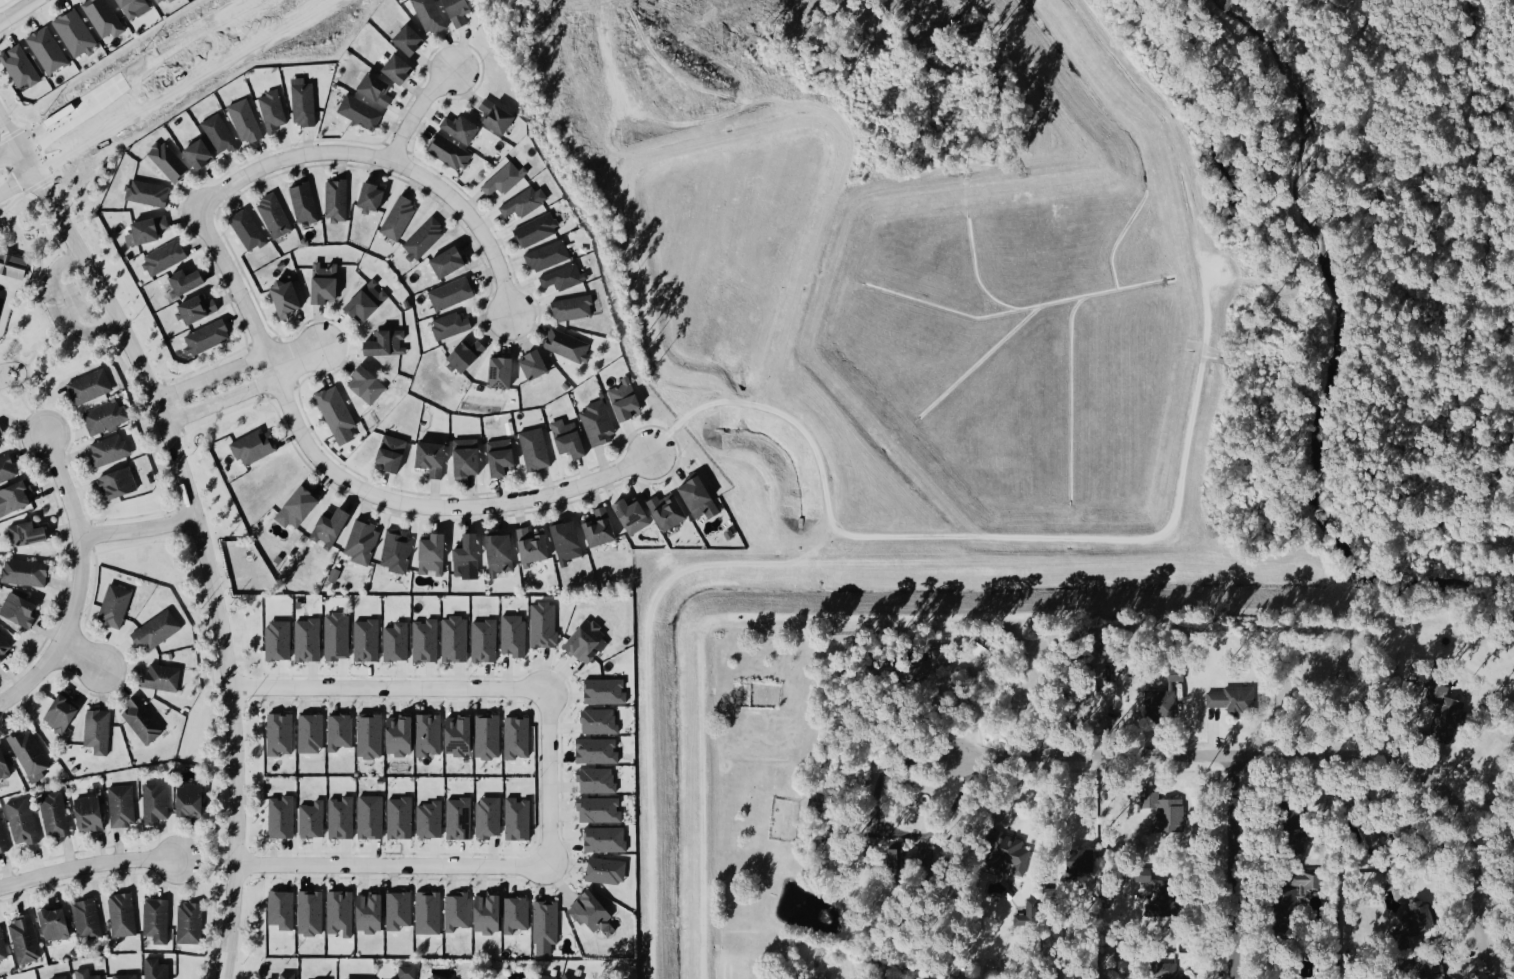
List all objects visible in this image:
building: (161, 1)
building: (136, 7)
road: (16, 10)
building: (461, 10)
building: (431, 15)
building: (105, 17)
building: (77, 33)
building: (413, 39)
building: (50, 50)
building: (22, 66)
building: (403, 68)
road: (138, 74)
road: (177, 87)
building: (379, 87)
building: (305, 102)
road: (414, 109)
building: (274, 110)
building: (362, 111)
building: (499, 115)
building: (247, 120)
building: (465, 128)
building: (220, 133)
road: (6, 138)
building: (451, 151)
road: (6, 152)
building: (203, 153)
road: (388, 159)
building: (170, 161)
building: (505, 178)
road: (14, 185)
building: (149, 192)
building: (375, 196)
building: (338, 200)
building: (525, 202)
building: (305, 203)
building: (276, 216)
building: (399, 217)
building: (249, 229)
building: (537, 230)
building: (148, 231)
building: (425, 238)
park: (1433, 245)
building: (549, 255)
building: (166, 256)
building: (453, 262)
building: (12, 266)
building: (565, 276)
building: (189, 281)
building: (328, 282)
building: (453, 293)
building: (291, 298)
building: (369, 302)
road: (67, 305)
building: (573, 307)
building: (200, 309)
park: (43, 312)
building: (452, 324)
building: (209, 337)
building: (387, 343)
building: (569, 345)
building: (471, 355)
road: (293, 358)
river: (1323, 362)
building: (539, 364)
road: (208, 375)
building: (365, 382)
building: (87, 387)
building: (628, 399)
road: (220, 402)
building: (335, 410)
building: (106, 417)
building: (600, 422)
building: (2, 433)
building: (572, 438)
building: (255, 446)
building: (537, 449)
building: (110, 450)
building: (390, 452)
building: (430, 456)
building: (464, 457)
building: (504, 457)
building: (8, 468)
road: (343, 482)
building: (119, 484)
building: (17, 498)
building: (703, 498)
building: (297, 504)
building: (671, 512)
building: (635, 516)
road: (136, 527)
building: (327, 527)
building: (603, 527)
building: (30, 533)
building: (571, 540)
building: (360, 541)
road: (202, 543)
building: (536, 546)
building: (395, 549)
building: (430, 554)
building: (503, 554)
building: (470, 558)
building: (27, 572)
building: (332, 573)
road: (79, 581)
building: (117, 605)
building: (21, 609)
building: (545, 624)
building: (158, 629)
building: (516, 635)
building: (339, 636)
building: (457, 639)
building: (588, 639)
building: (281, 640)
building: (310, 640)
building: (368, 640)
building: (427, 640)
building: (486, 640)
building: (398, 642)
building: (4, 648)
road: (82, 658)
building: (923, 664)
building: (164, 676)
road: (973, 678)
building: (607, 691)
building: (1161, 695)
building: (1230, 698)
building: (1441, 709)
building: (64, 714)
building: (145, 720)
building: (601, 721)
building: (99, 731)
building: (342, 731)
building: (313, 733)
building: (282, 734)
building: (431, 734)
building: (372, 735)
building: (403, 736)
building: (462, 736)
building: (490, 736)
building: (519, 737)
building: (598, 751)
building: (31, 754)
road: (948, 754)
road: (1307, 760)
building: (5, 764)
road: (547, 776)
building: (598, 780)
building: (193, 800)
building: (156, 802)
building: (123, 805)
building: (1158, 805)
building: (601, 810)
building: (91, 813)
building: (56, 814)
building: (1291, 814)
building: (373, 816)
building: (284, 817)
building: (344, 817)
building: (491, 817)
building: (402, 818)
building: (461, 818)
building: (315, 819)
building: (432, 819)
building: (520, 819)
building: (23, 821)
road: (893, 833)
building: (3, 835)
building: (607, 839)
building: (867, 843)
building: (1002, 853)
building: (890, 859)
building: (1076, 859)
road: (87, 863)
building: (609, 869)
road: (1239, 871)
building: (1142, 877)
building: (1301, 880)
building: (1285, 904)
building: (283, 908)
building: (401, 910)
building: (459, 910)
building: (313, 911)
building: (595, 911)
building: (342, 912)
building: (374, 912)
building: (430, 912)
building: (124, 913)
building: (491, 913)
building: (518, 913)
building: (1412, 917)
building: (88, 918)
building: (158, 918)
building: (191, 922)
building: (58, 923)
building: (547, 924)
building: (27, 938)
building: (3, 944)
building: (157, 969)
road: (1505, 970)
building: (1162, 971)
building: (408, 972)
building: (87, 974)
building: (288, 975)
building: (127, 976)
building: (571, 976)
building: (62, 977)
building: (437, 977)
building: (549, 977)

